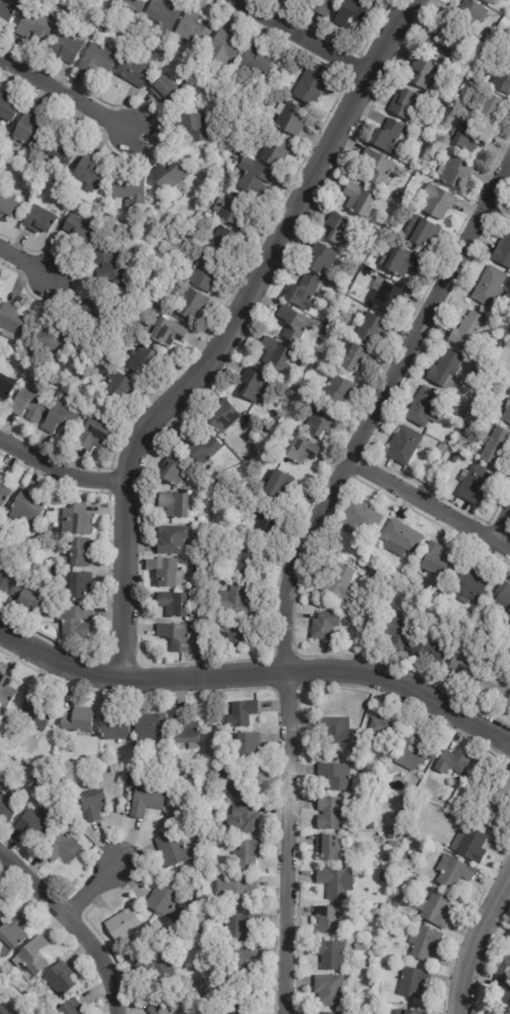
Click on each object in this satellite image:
building: (491, 2)
building: (62, 5)
building: (132, 5)
building: (320, 6)
building: (7, 12)
building: (71, 13)
building: (352, 13)
building: (163, 14)
building: (469, 15)
building: (35, 23)
building: (193, 29)
road: (297, 37)
building: (148, 40)
building: (134, 45)
building: (224, 46)
building: (443, 46)
building: (66, 48)
building: (97, 60)
building: (258, 61)
building: (166, 64)
building: (133, 70)
building: (423, 72)
building: (472, 75)
building: (502, 79)
building: (309, 88)
building: (165, 91)
road: (67, 94)
building: (404, 103)
building: (6, 109)
building: (490, 109)
building: (292, 120)
building: (191, 127)
building: (26, 131)
building: (389, 136)
building: (470, 138)
building: (425, 140)
building: (0, 143)
building: (58, 151)
building: (274, 151)
building: (234, 155)
building: (375, 166)
building: (421, 169)
building: (455, 172)
building: (89, 174)
building: (167, 175)
building: (254, 177)
building: (130, 192)
building: (357, 201)
building: (439, 203)
building: (8, 210)
building: (232, 211)
building: (39, 221)
building: (407, 223)
building: (79, 229)
building: (338, 229)
building: (424, 235)
building: (379, 241)
building: (224, 243)
building: (181, 248)
building: (503, 250)
building: (320, 260)
road: (24, 262)
building: (399, 263)
building: (107, 264)
building: (357, 264)
building: (371, 272)
building: (203, 275)
building: (488, 287)
building: (302, 293)
building: (385, 297)
building: (190, 303)
building: (85, 313)
building: (10, 322)
building: (327, 323)
building: (294, 325)
building: (370, 328)
road: (228, 331)
building: (466, 331)
building: (166, 333)
building: (49, 339)
building: (274, 355)
building: (356, 359)
building: (141, 361)
building: (302, 362)
building: (498, 366)
building: (446, 371)
building: (480, 376)
building: (115, 385)
building: (252, 385)
building: (6, 387)
building: (337, 392)
building: (28, 405)
building: (424, 408)
building: (506, 414)
building: (61, 416)
building: (223, 416)
building: (319, 422)
building: (265, 434)
building: (92, 436)
building: (403, 446)
building: (442, 448)
building: (201, 449)
building: (495, 449)
building: (303, 452)
building: (455, 458)
road: (60, 471)
building: (172, 471)
building: (274, 485)
building: (473, 485)
building: (3, 492)
building: (173, 506)
building: (25, 511)
road: (427, 517)
building: (201, 519)
building: (75, 521)
building: (360, 522)
building: (263, 525)
road: (501, 537)
building: (400, 539)
building: (170, 541)
building: (29, 545)
road: (292, 553)
building: (80, 555)
building: (245, 560)
building: (204, 563)
building: (436, 563)
building: (165, 573)
building: (5, 575)
building: (371, 577)
building: (400, 580)
building: (341, 583)
building: (78, 585)
building: (469, 585)
building: (41, 589)
building: (24, 596)
building: (234, 600)
building: (502, 602)
building: (175, 605)
building: (74, 622)
building: (323, 626)
building: (395, 632)
building: (233, 634)
building: (174, 637)
building: (432, 651)
building: (462, 666)
road: (257, 671)
building: (491, 686)
building: (5, 692)
building: (508, 702)
building: (37, 707)
building: (241, 714)
building: (78, 720)
building: (150, 726)
building: (115, 728)
building: (382, 728)
building: (335, 729)
building: (186, 730)
building: (246, 746)
building: (414, 749)
building: (451, 762)
building: (335, 775)
building: (36, 777)
building: (131, 779)
building: (239, 782)
building: (502, 784)
building: (464, 786)
building: (425, 798)
building: (376, 799)
building: (146, 800)
building: (8, 803)
building: (93, 804)
building: (197, 811)
building: (492, 812)
building: (330, 813)
building: (243, 819)
building: (416, 819)
building: (34, 825)
building: (371, 826)
building: (415, 826)
building: (393, 844)
building: (470, 845)
building: (62, 847)
building: (329, 848)
building: (173, 849)
building: (262, 852)
building: (247, 855)
building: (453, 871)
building: (403, 874)
building: (384, 877)
building: (333, 883)
building: (235, 887)
road: (92, 889)
building: (163, 900)
building: (206, 902)
building: (192, 903)
building: (3, 905)
building: (395, 906)
building: (435, 909)
building: (381, 911)
building: (330, 919)
road: (73, 922)
building: (123, 925)
building: (238, 925)
building: (194, 927)
building: (387, 930)
building: (11, 933)
building: (424, 943)
road: (475, 943)
building: (330, 955)
building: (239, 956)
building: (32, 957)
building: (157, 969)
building: (60, 978)
building: (413, 982)
building: (504, 989)
building: (328, 990)
building: (240, 997)
building: (162, 1006)
building: (70, 1008)
building: (3, 1011)
building: (409, 1012)
building: (329, 1013)

